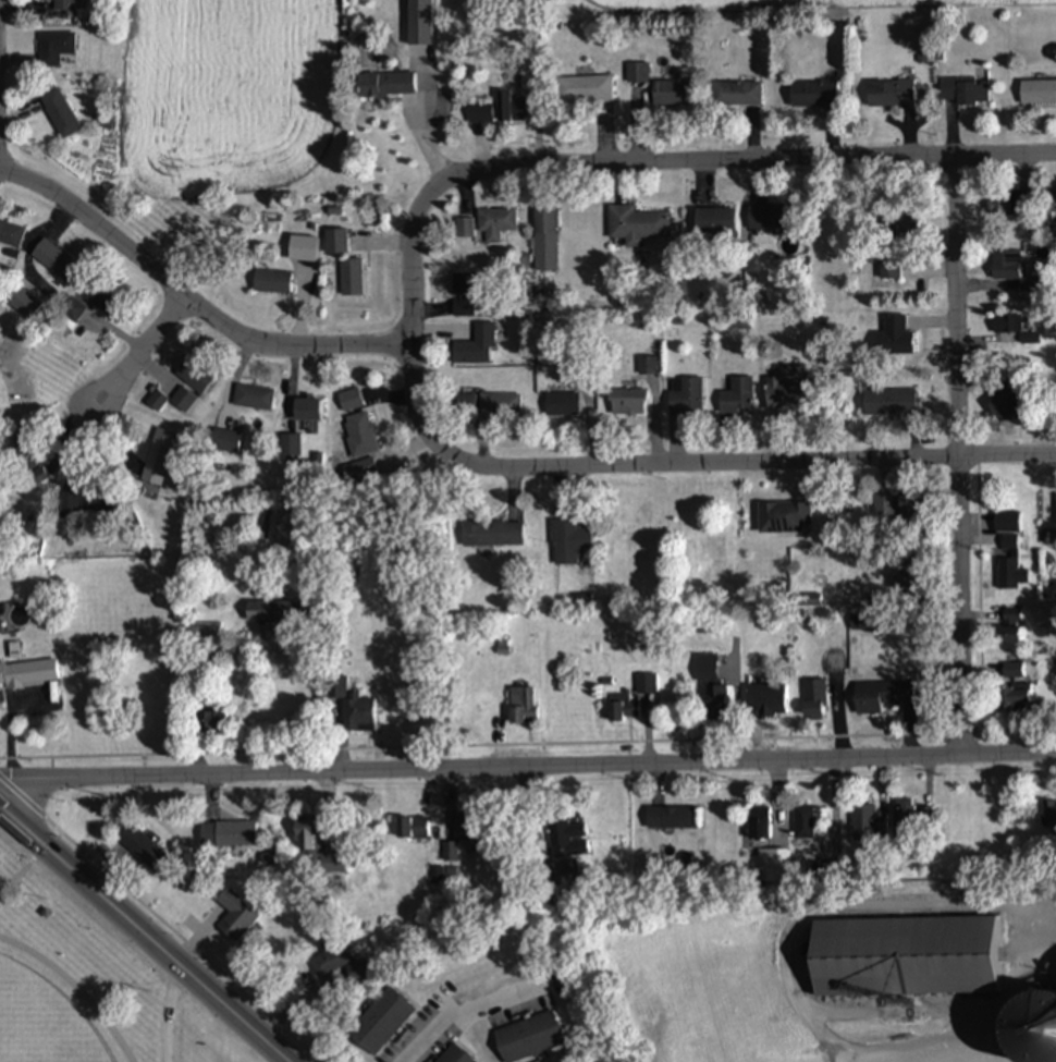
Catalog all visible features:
building: (64, 4)
building: (56, 48)
building: (423, 60)
building: (637, 73)
building: (386, 84)
building: (585, 89)
building: (1039, 91)
building: (671, 93)
building: (966, 93)
building: (737, 94)
building: (814, 94)
building: (892, 94)
building: (512, 107)
building: (61, 112)
building: (480, 112)
road: (754, 157)
building: (1009, 204)
building: (1051, 205)
building: (770, 218)
building: (713, 221)
building: (496, 223)
building: (635, 224)
building: (901, 227)
building: (11, 233)
building: (545, 240)
building: (337, 241)
building: (303, 248)
building: (57, 261)
building: (1007, 266)
building: (349, 278)
building: (272, 281)
building: (467, 284)
building: (105, 297)
road: (184, 300)
road: (959, 302)
building: (24, 303)
building: (463, 308)
building: (74, 310)
road: (407, 320)
building: (896, 337)
building: (477, 347)
road: (147, 361)
building: (649, 366)
building: (196, 375)
building: (788, 394)
building: (686, 398)
building: (738, 398)
building: (254, 399)
building: (184, 401)
building: (352, 401)
building: (158, 402)
building: (628, 403)
building: (891, 403)
building: (466, 404)
building: (562, 405)
building: (1006, 405)
building: (500, 406)
building: (308, 411)
building: (361, 431)
building: (225, 441)
building: (27, 449)
building: (159, 457)
road: (753, 460)
building: (86, 504)
building: (884, 509)
building: (910, 509)
building: (785, 517)
building: (1007, 522)
building: (492, 534)
building: (569, 542)
building: (1011, 564)
road: (959, 601)
building: (272, 612)
building: (1011, 617)
building: (1008, 635)
building: (1012, 670)
building: (647, 684)
building: (712, 691)
building: (882, 697)
building: (1016, 698)
building: (814, 700)
building: (766, 701)
building: (523, 706)
building: (623, 708)
building: (354, 709)
building: (209, 720)
road: (527, 762)
building: (1049, 815)
building: (673, 818)
building: (905, 819)
building: (759, 823)
building: (805, 823)
building: (869, 826)
building: (413, 829)
building: (229, 833)
building: (568, 841)
building: (317, 847)
building: (143, 850)
building: (774, 866)
road: (1044, 908)
building: (236, 916)
road: (144, 935)
building: (331, 957)
building: (906, 957)
park: (85, 981)
road: (464, 1015)
building: (381, 1022)
building: (1032, 1029)
building: (528, 1038)
building: (455, 1055)

